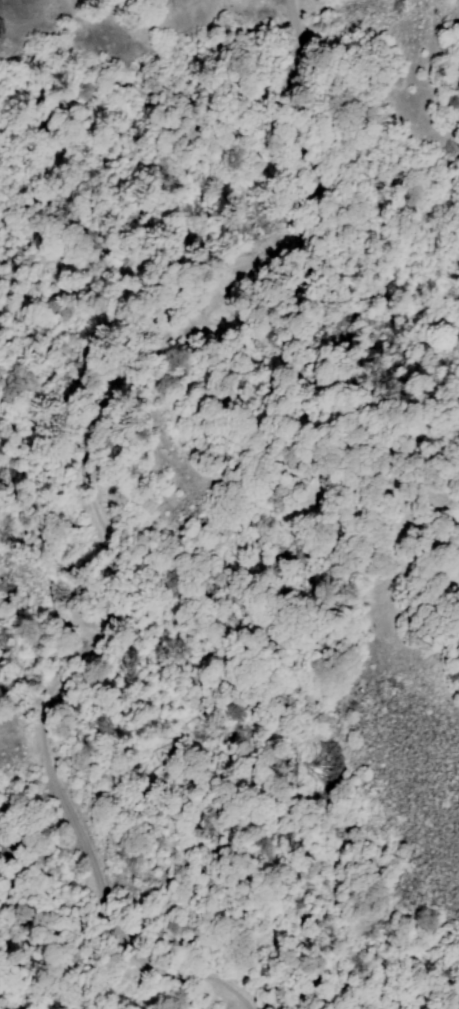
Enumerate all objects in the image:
road: (278, 128)
road: (99, 892)

